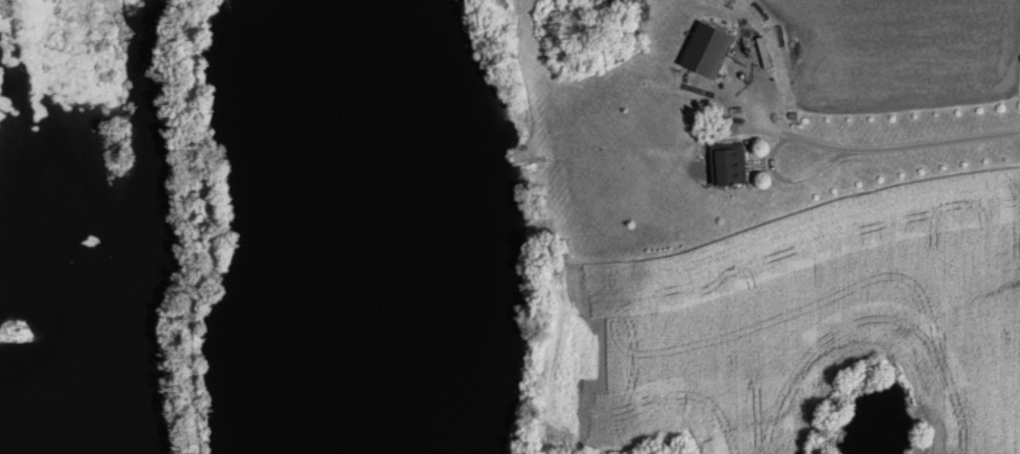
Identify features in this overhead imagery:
building: (706, 51)
building: (727, 164)

